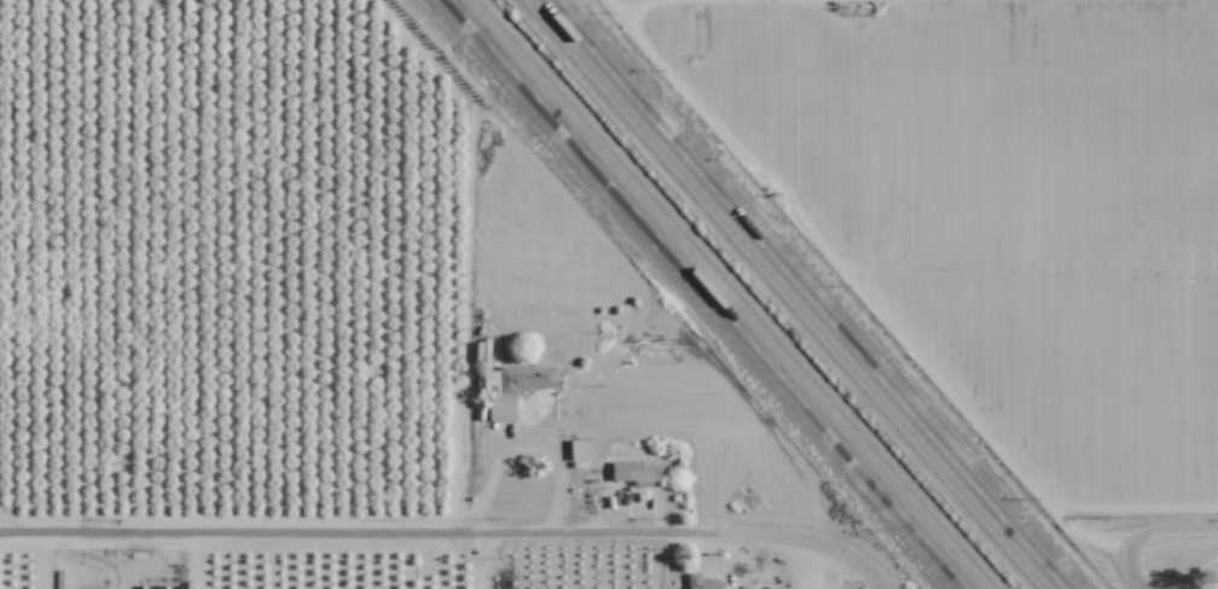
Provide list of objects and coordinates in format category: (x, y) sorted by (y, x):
road: (726, 293)
road: (823, 293)
building: (511, 386)
road: (526, 431)
building: (582, 449)
building: (634, 472)
road: (451, 531)
road: (1148, 546)
road: (1193, 573)
building: (701, 582)
road: (889, 587)
road: (891, 587)

